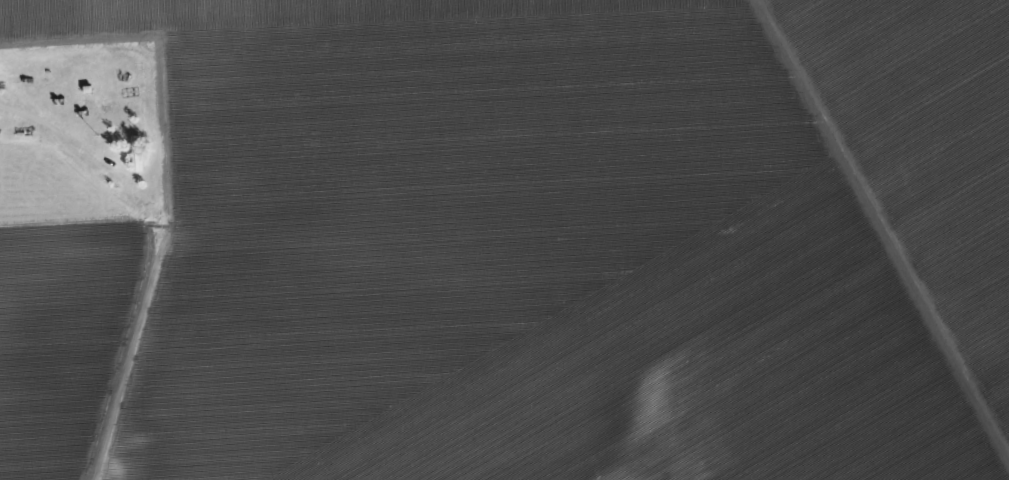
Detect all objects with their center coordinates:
road: (163, 250)

